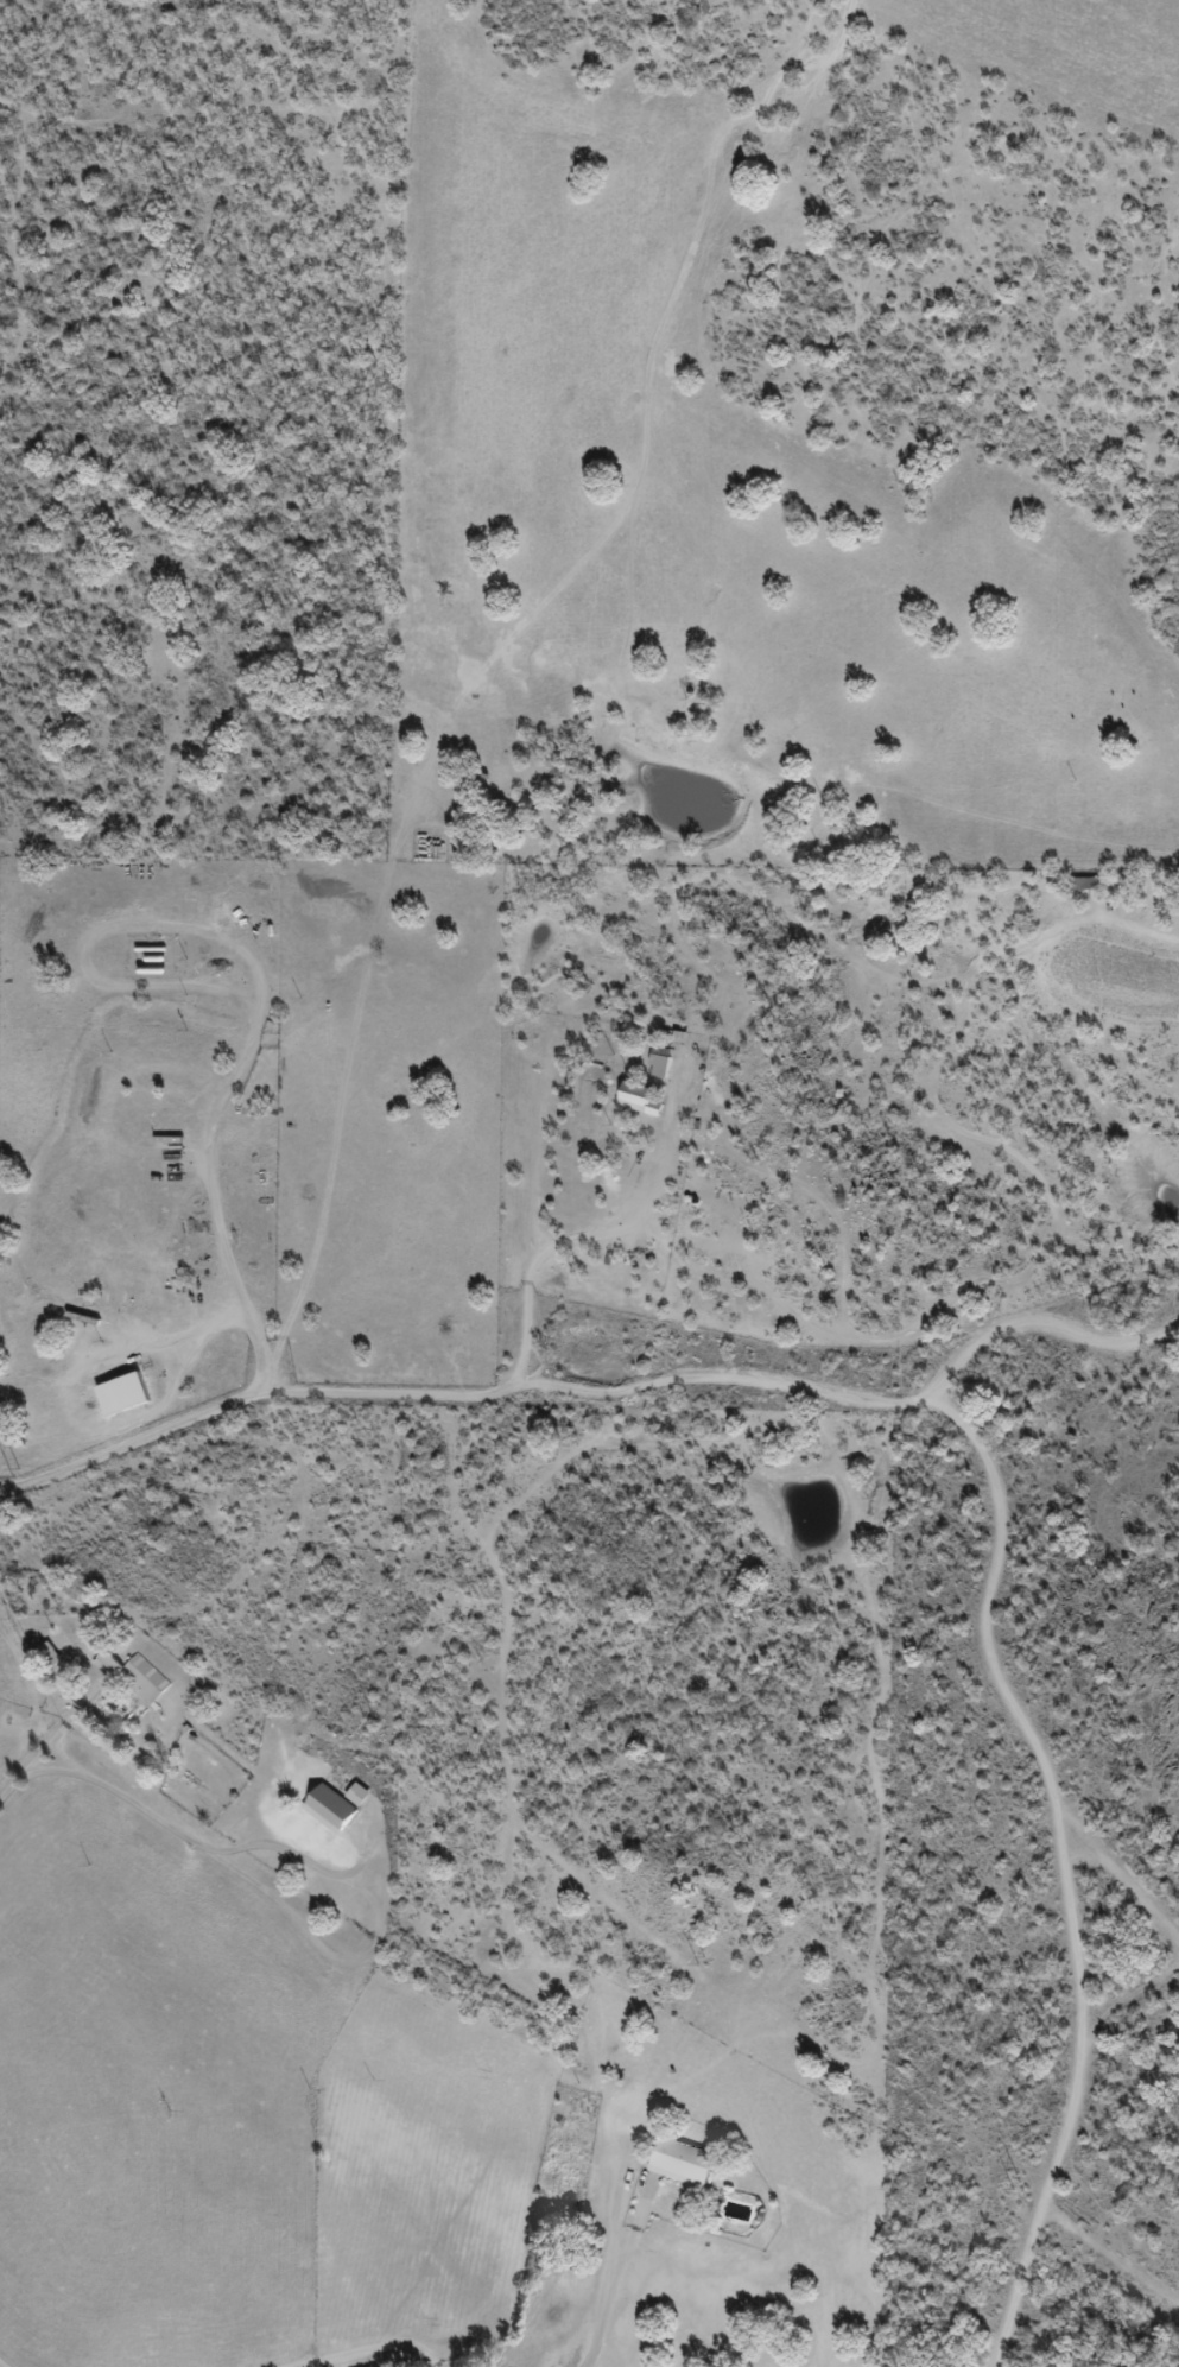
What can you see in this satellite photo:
road: (63, 133)
road: (641, 455)
building: (648, 1095)
building: (122, 1393)
building: (51, 1653)
building: (135, 1677)
power tower: (368, 1722)
building: (336, 1805)
power tower: (695, 1964)
road: (1054, 2157)
building: (683, 2162)
power tower: (1015, 2185)

